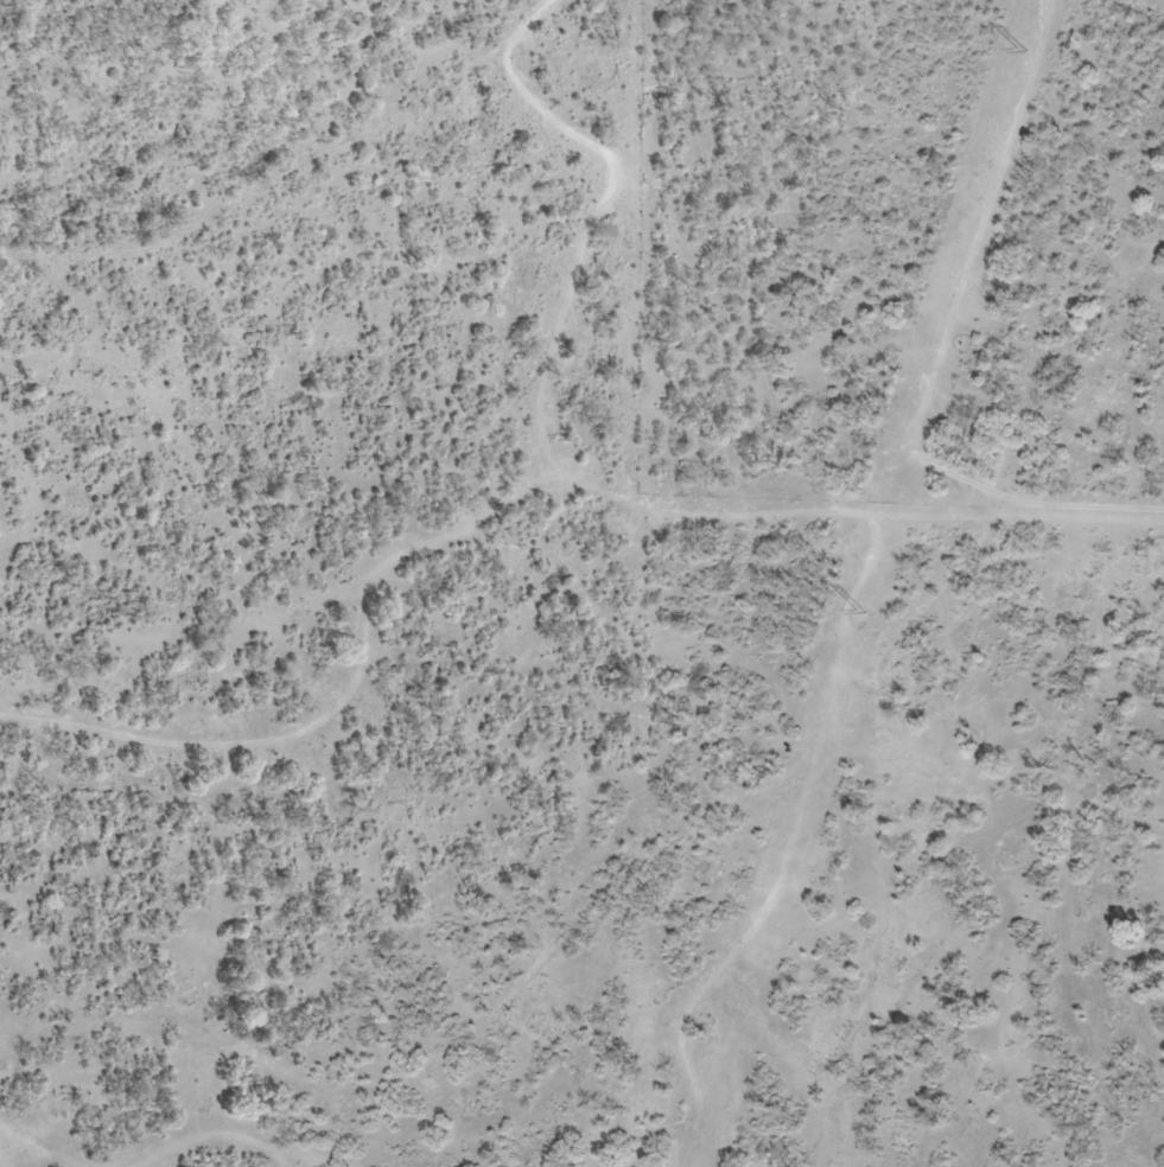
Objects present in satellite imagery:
power tower: (1023, 47)
power tower: (863, 610)

